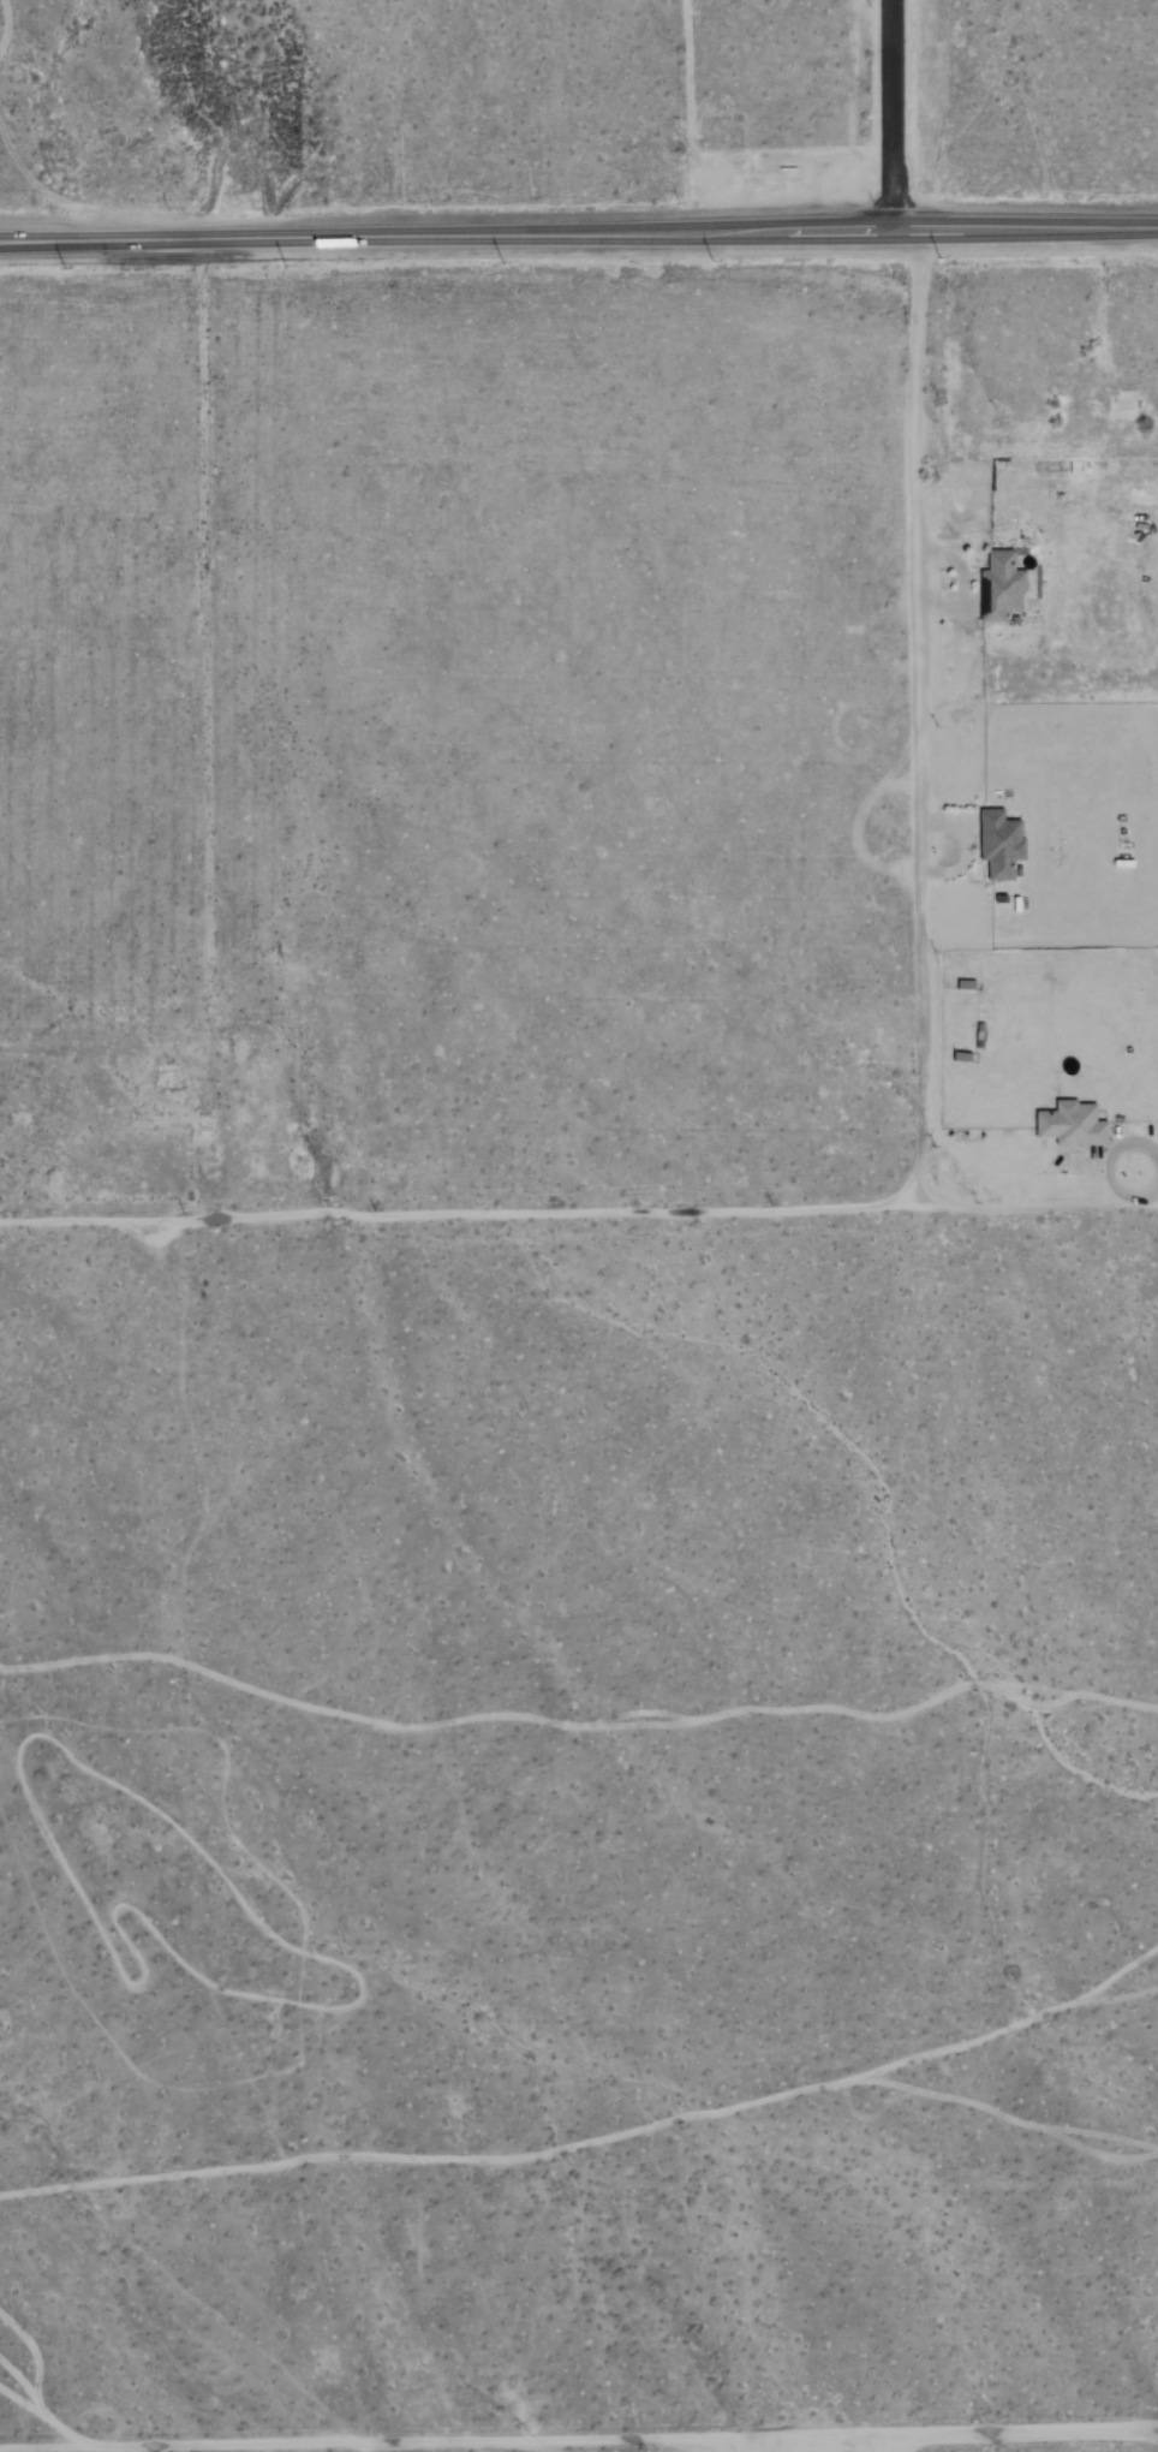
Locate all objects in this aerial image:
road: (891, 113)
road: (578, 231)
road: (972, 582)
building: (1001, 587)
road: (920, 714)
building: (1001, 843)
building: (1069, 1123)
road: (579, 1218)
road: (578, 2439)
road: (897, 2442)

